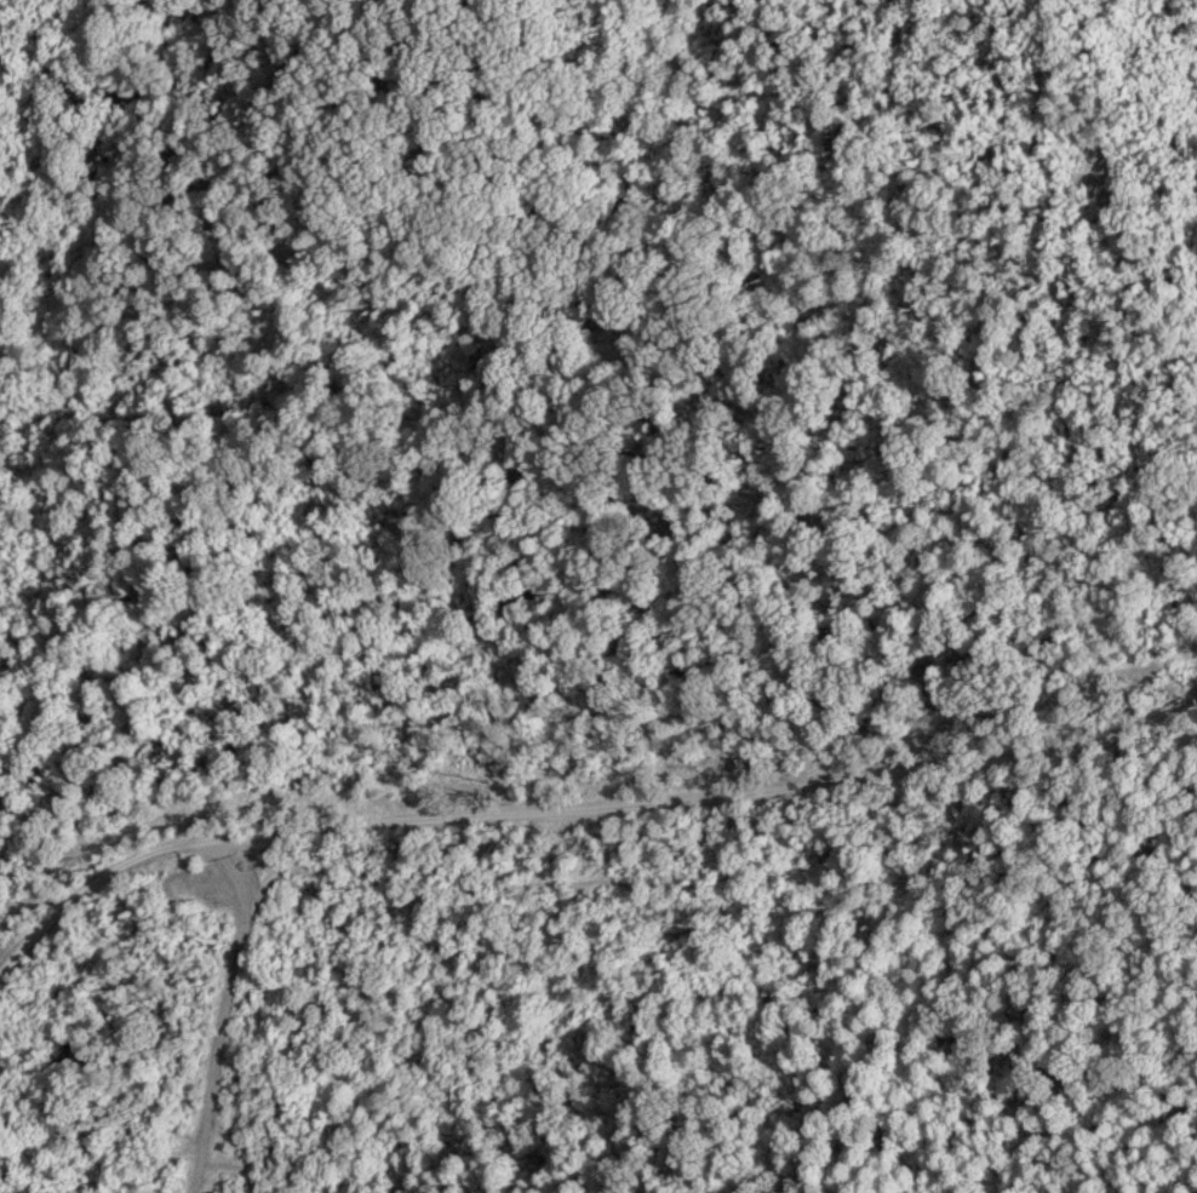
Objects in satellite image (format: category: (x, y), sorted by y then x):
road: (582, 809)
road: (223, 1010)

